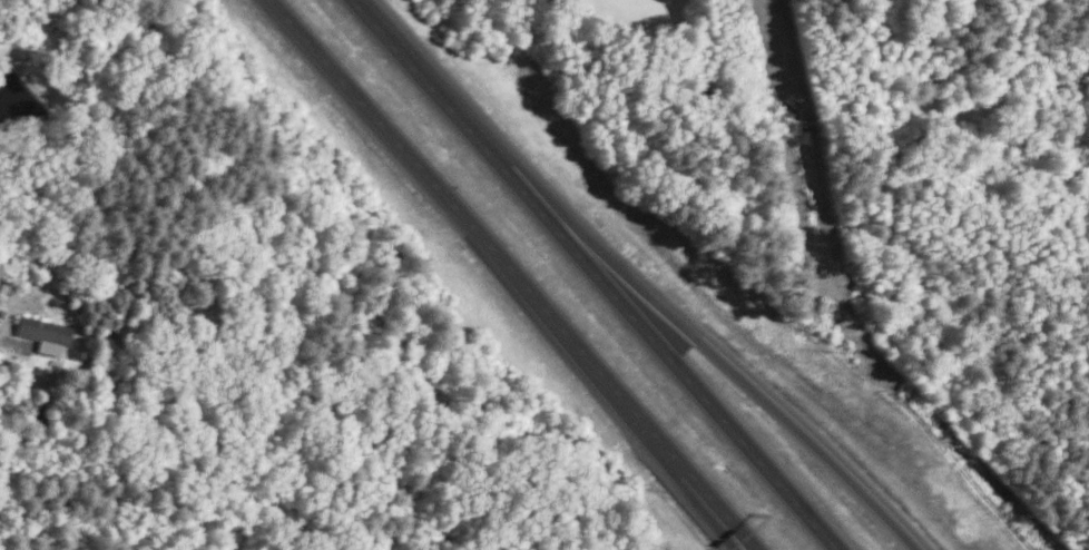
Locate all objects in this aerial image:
road: (422, 170)
road: (597, 275)
building: (45, 333)
road: (742, 379)
road: (630, 406)
road: (713, 510)
road: (722, 510)

